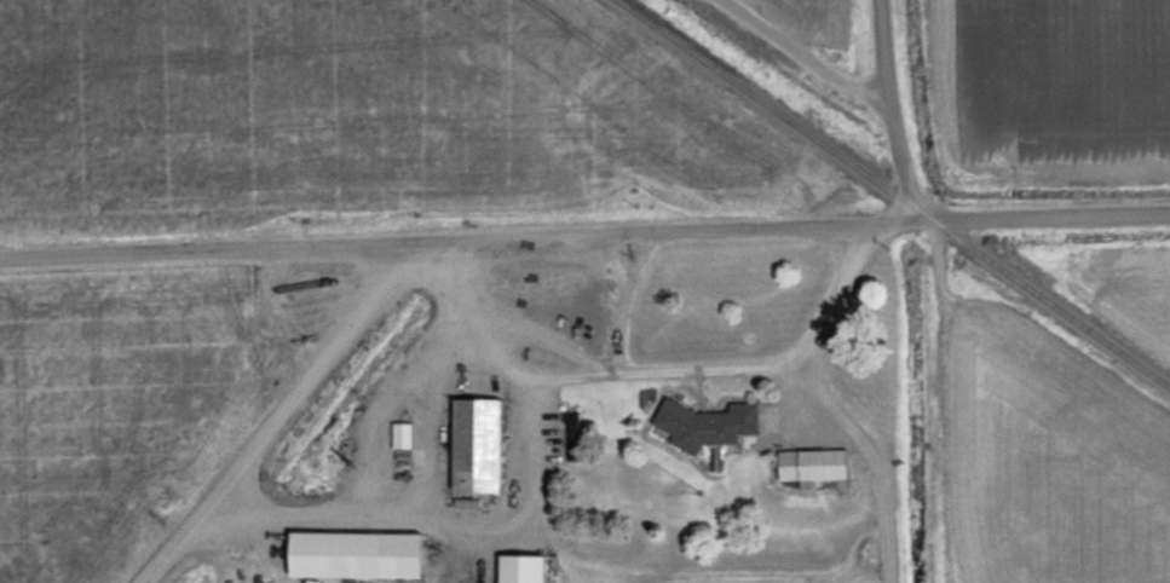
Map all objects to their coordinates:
road: (811, 58)
road: (893, 111)
railway: (894, 194)
road: (584, 237)
road: (820, 402)
road: (272, 414)
building: (713, 427)
building: (407, 437)
building: (486, 448)
building: (824, 466)
building: (369, 558)
building: (531, 570)

